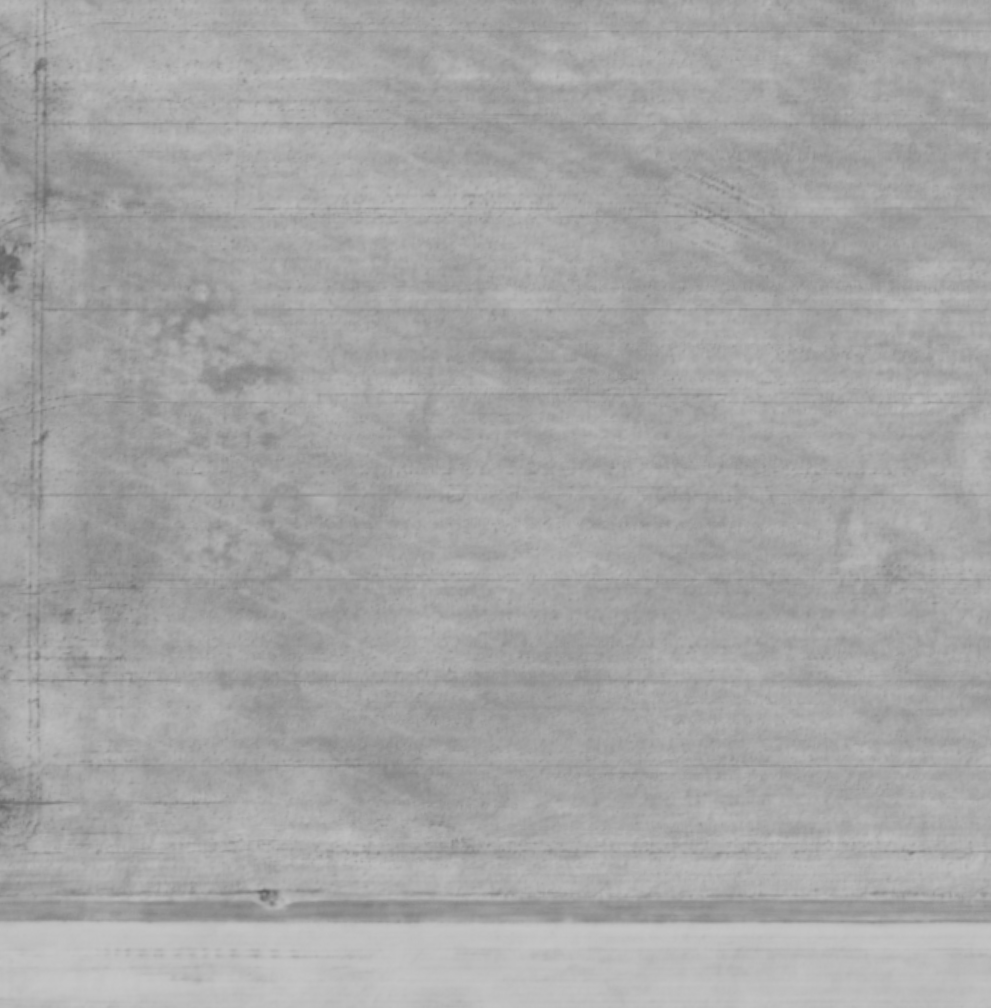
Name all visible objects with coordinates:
road: (495, 909)

